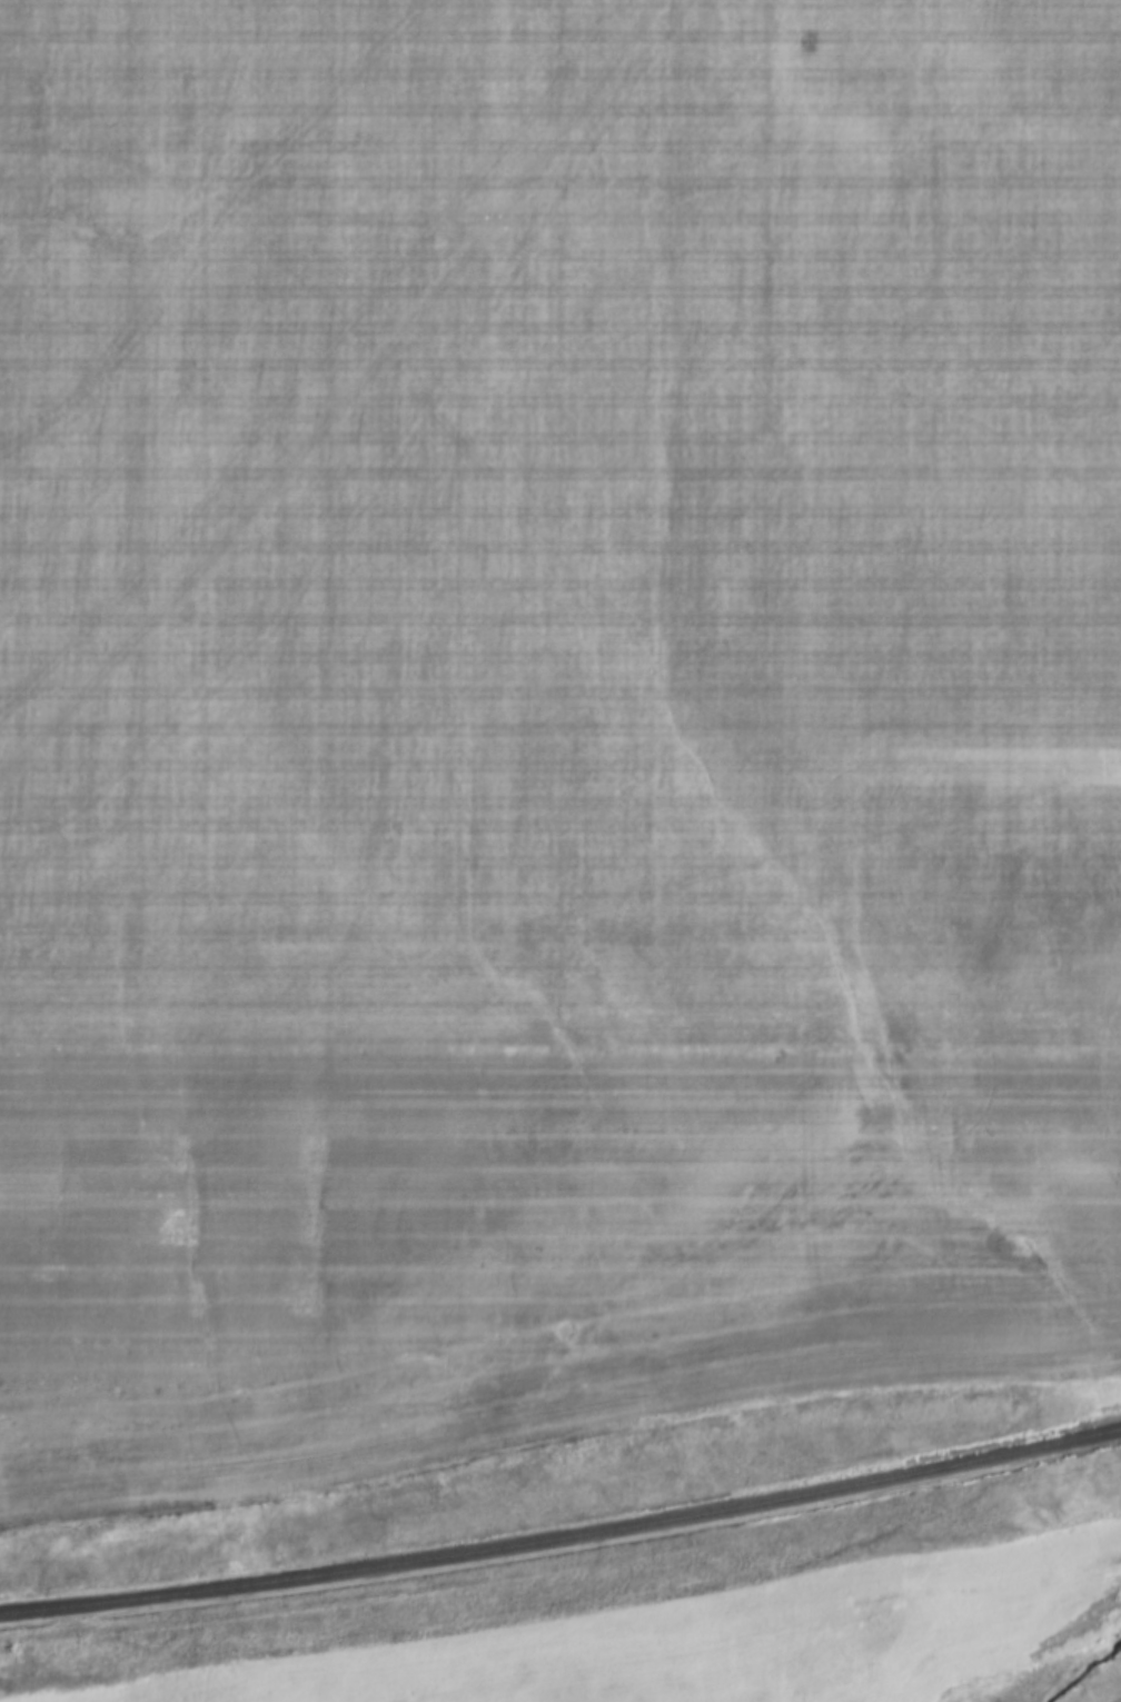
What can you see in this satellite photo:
railway: (563, 1533)

